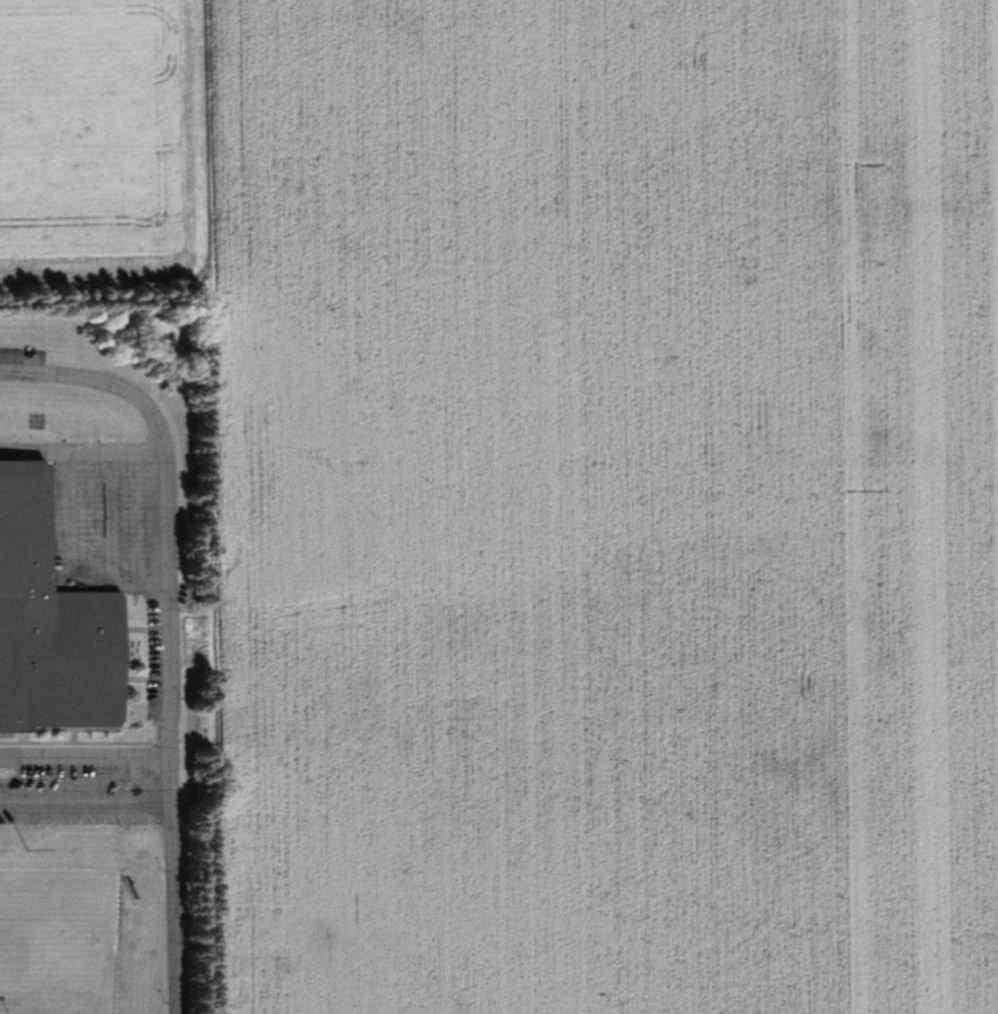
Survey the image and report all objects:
parking lot: (23, 356)
parking lot: (113, 541)
building: (53, 624)
road: (172, 627)
road: (87, 755)
parking lot: (62, 794)
road: (88, 808)
park: (58, 942)

